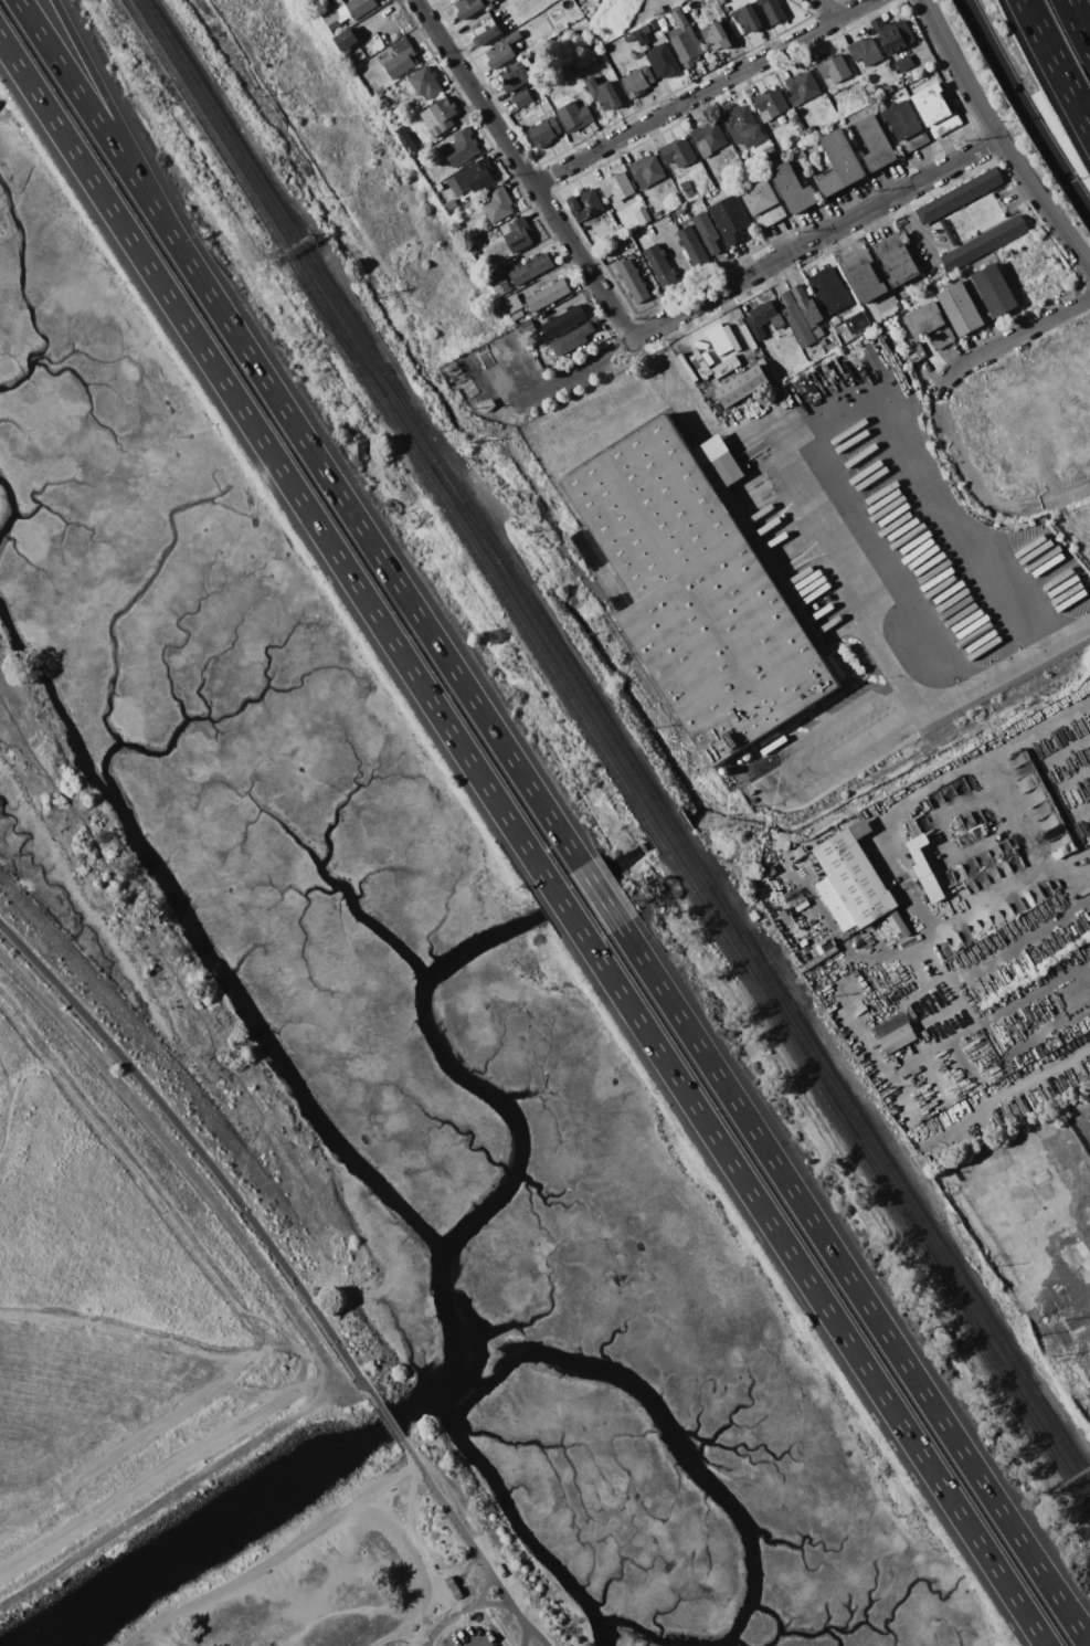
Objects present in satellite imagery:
building: (595, 1)
building: (721, 1)
building: (763, 1)
building: (716, 4)
building: (361, 7)
building: (470, 7)
building: (686, 8)
building: (727, 9)
road: (828, 9)
building: (774, 11)
building: (331, 18)
building: (748, 18)
road: (1078, 22)
building: (579, 24)
building: (657, 28)
building: (488, 30)
building: (643, 34)
building: (893, 35)
building: (628, 36)
building: (717, 36)
building: (347, 39)
building: (685, 39)
building: (504, 50)
building: (864, 53)
building: (402, 60)
building: (664, 62)
building: (906, 63)
road: (1056, 63)
building: (834, 67)
building: (516, 75)
building: (638, 81)
building: (425, 82)
building: (804, 85)
building: (885, 91)
road: (705, 93)
building: (604, 94)
building: (523, 98)
building: (382, 99)
building: (771, 103)
road: (1027, 104)
building: (936, 110)
building: (440, 116)
road: (116, 117)
building: (576, 117)
road: (94, 118)
building: (906, 125)
building: (743, 126)
building: (544, 133)
building: (709, 137)
road: (1001, 139)
building: (406, 141)
building: (876, 143)
building: (782, 145)
building: (462, 147)
building: (769, 151)
building: (680, 154)
building: (839, 163)
building: (497, 166)
road: (522, 168)
building: (646, 171)
building: (475, 176)
building: (616, 184)
building: (794, 188)
building: (687, 189)
building: (960, 196)
building: (764, 203)
building: (451, 204)
building: (586, 204)
building: (499, 205)
building: (681, 210)
building: (657, 214)
building: (648, 219)
building: (731, 219)
building: (707, 232)
road: (920, 233)
building: (519, 235)
railway: (287, 238)
road: (816, 240)
building: (984, 242)
building: (694, 247)
building: (474, 251)
building: (1007, 253)
building: (896, 258)
building: (662, 266)
building: (530, 268)
building: (495, 274)
building: (864, 276)
railway: (328, 281)
building: (634, 281)
building: (995, 289)
building: (829, 291)
building: (548, 294)
building: (658, 294)
building: (512, 303)
building: (809, 307)
building: (961, 308)
railway: (321, 309)
building: (518, 315)
building: (764, 318)
building: (565, 320)
building: (859, 320)
building: (925, 320)
building: (797, 321)
building: (528, 329)
building: (818, 333)
railway: (346, 338)
road: (1013, 338)
building: (573, 339)
building: (942, 339)
building: (824, 342)
building: (485, 347)
building: (917, 352)
building: (548, 354)
building: (463, 379)
road: (549, 380)
building: (743, 386)
building: (487, 403)
road: (827, 410)
road: (960, 456)
road: (1048, 503)
railway: (473, 520)
building: (581, 539)
railway: (573, 567)
building: (702, 589)
road: (856, 750)
railway: (627, 755)
railway: (639, 793)
road: (1013, 812)
building: (1045, 813)
road: (521, 842)
road: (892, 847)
building: (925, 869)
building: (786, 876)
building: (851, 880)
building: (781, 905)
building: (754, 916)
building: (901, 924)
road: (629, 941)
road: (1086, 963)
road: (1086, 974)
building: (1008, 998)
railway: (795, 1027)
building: (895, 1032)
road: (28, 1036)
road: (945, 1042)
railway: (804, 1068)
road: (8, 1080)
road: (1013, 1088)
building: (962, 1137)
road: (199, 1150)
building: (946, 1177)
building: (1040, 1177)
road: (152, 1192)
railway: (919, 1214)
building: (986, 1244)
building: (1081, 1248)
park: (138, 1255)
building: (1086, 1266)
railway: (965, 1306)
building: (1056, 1307)
road: (303, 1332)
building: (1082, 1334)
road: (147, 1343)
railway: (987, 1349)
building: (1080, 1374)
building: (1089, 1375)
road: (354, 1391)
road: (393, 1423)
road: (387, 1424)
road: (161, 1425)
road: (411, 1463)
road: (148, 1480)
road: (388, 1516)
road: (414, 1542)
road: (476, 1551)
road: (277, 1561)
park: (364, 1569)
road: (498, 1608)
road: (363, 1611)
road: (468, 1612)
road: (451, 1615)
road: (283, 1629)
road: (526, 1637)
road: (151, 1642)

